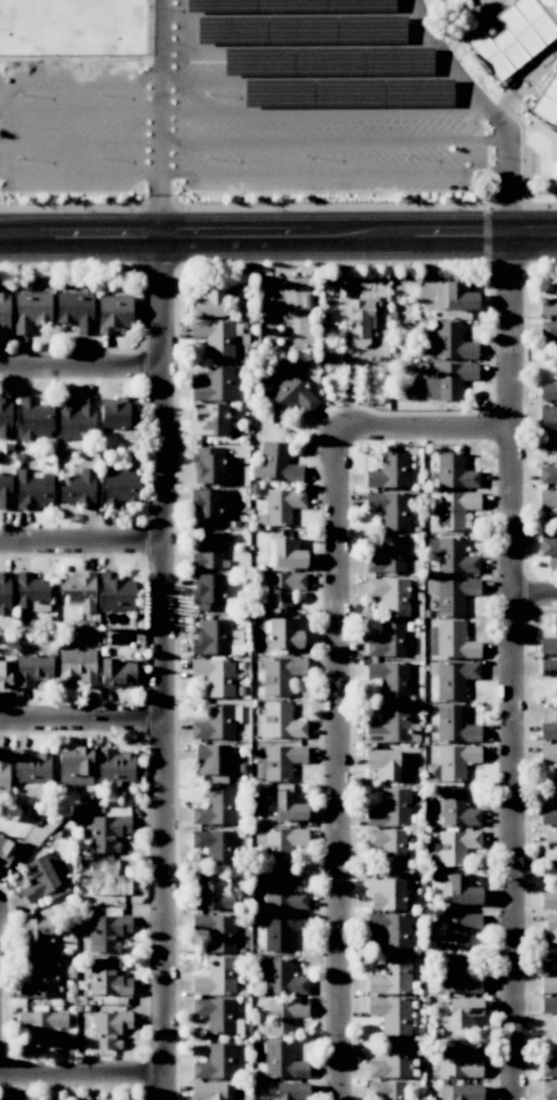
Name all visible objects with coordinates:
road: (289, 13)
road: (298, 45)
building: (556, 71)
road: (228, 78)
road: (224, 110)
road: (489, 110)
road: (161, 120)
road: (254, 142)
road: (254, 174)
road: (278, 239)
building: (556, 285)
building: (208, 301)
building: (547, 306)
building: (359, 317)
building: (548, 329)
building: (215, 336)
building: (464, 350)
building: (556, 352)
building: (330, 360)
building: (556, 368)
road: (80, 371)
building: (214, 383)
building: (292, 394)
building: (209, 418)
building: (556, 425)
road: (425, 426)
building: (556, 457)
building: (210, 469)
building: (458, 477)
building: (126, 489)
building: (282, 505)
building: (556, 506)
building: (453, 509)
building: (391, 510)
road: (81, 544)
building: (388, 556)
building: (451, 556)
building: (283, 588)
building: (211, 592)
building: (390, 594)
building: (454, 594)
road: (537, 599)
building: (556, 619)
building: (451, 640)
building: (388, 641)
road: (517, 669)
road: (164, 670)
building: (4, 672)
building: (281, 674)
building: (215, 675)
building: (390, 678)
building: (454, 678)
building: (556, 686)
road: (82, 721)
building: (282, 721)
building: (393, 721)
building: (214, 722)
building: (556, 736)
building: (548, 752)
building: (282, 761)
building: (454, 761)
road: (341, 762)
building: (383, 764)
building: (288, 805)
building: (215, 808)
building: (556, 808)
building: (458, 809)
building: (104, 835)
building: (215, 844)
building: (278, 844)
building: (455, 847)
building: (556, 847)
building: (5, 851)
building: (556, 874)
building: (34, 882)
building: (462, 889)
building: (282, 892)
building: (211, 894)
building: (386, 895)
building: (556, 915)
building: (550, 927)
building: (458, 929)
building: (391, 930)
building: (106, 932)
building: (277, 941)
building: (556, 965)
building: (455, 975)
building: (107, 978)
building: (282, 978)
building: (39, 980)
building: (548, 984)
building: (213, 985)
building: (462, 1013)
building: (284, 1015)
building: (394, 1016)
building: (110, 1028)
building: (39, 1029)
building: (556, 1031)
building: (556, 1046)
building: (455, 1058)
building: (391, 1060)
building: (212, 1069)
road: (84, 1078)
building: (556, 1084)

